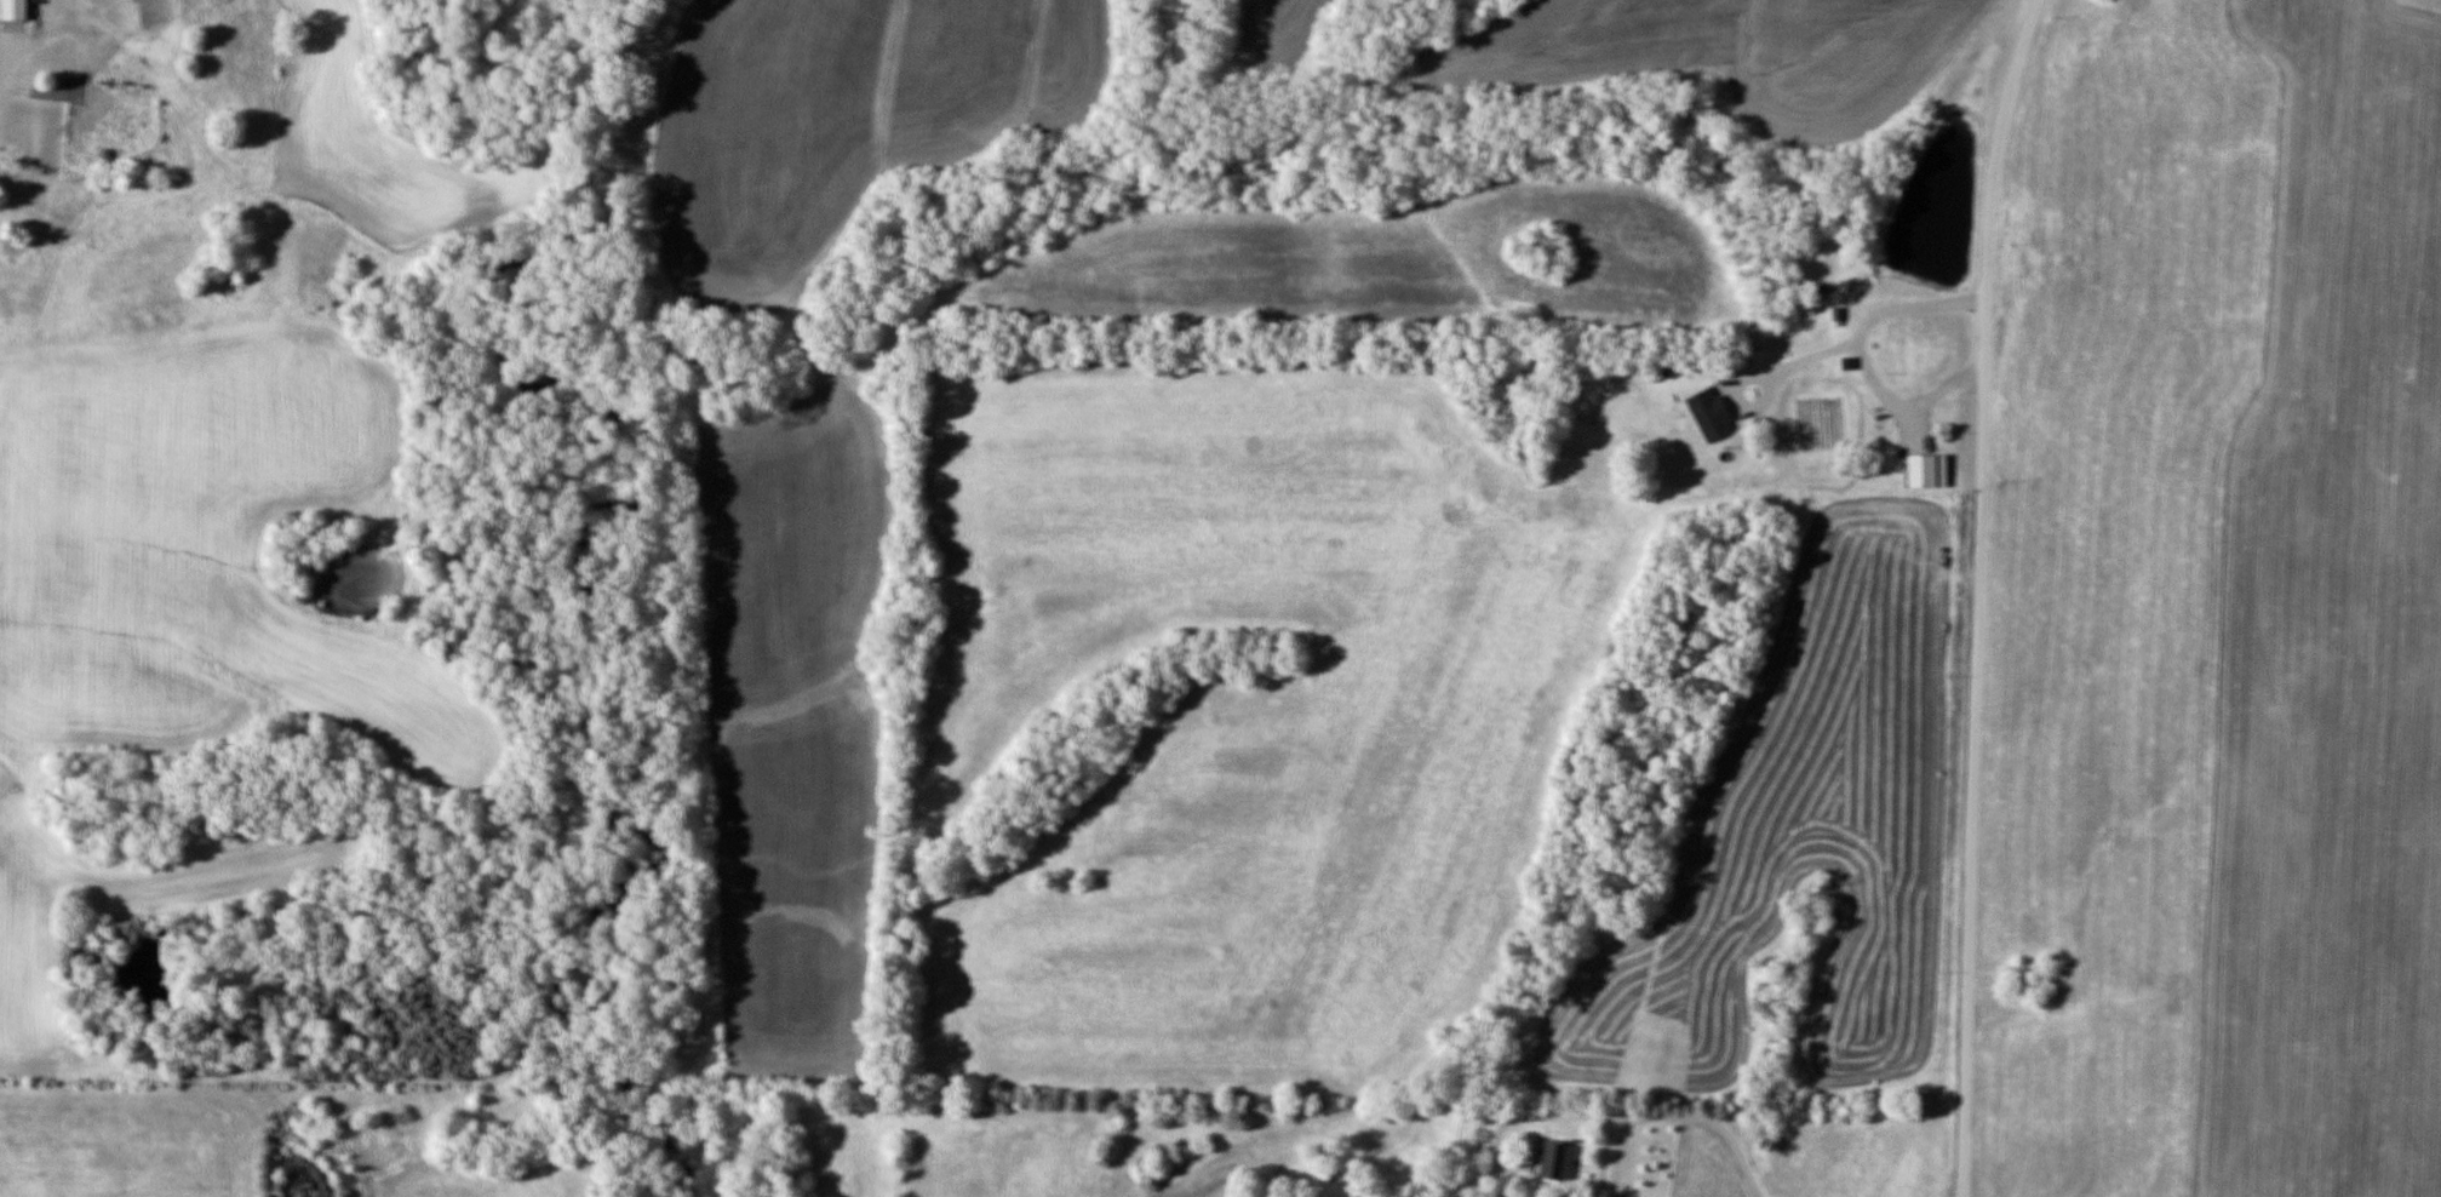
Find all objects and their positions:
building: (16, 10)
building: (33, 84)
building: (75, 141)
building: (1712, 414)
building: (1927, 471)
road: (1978, 595)
building: (1558, 1161)

